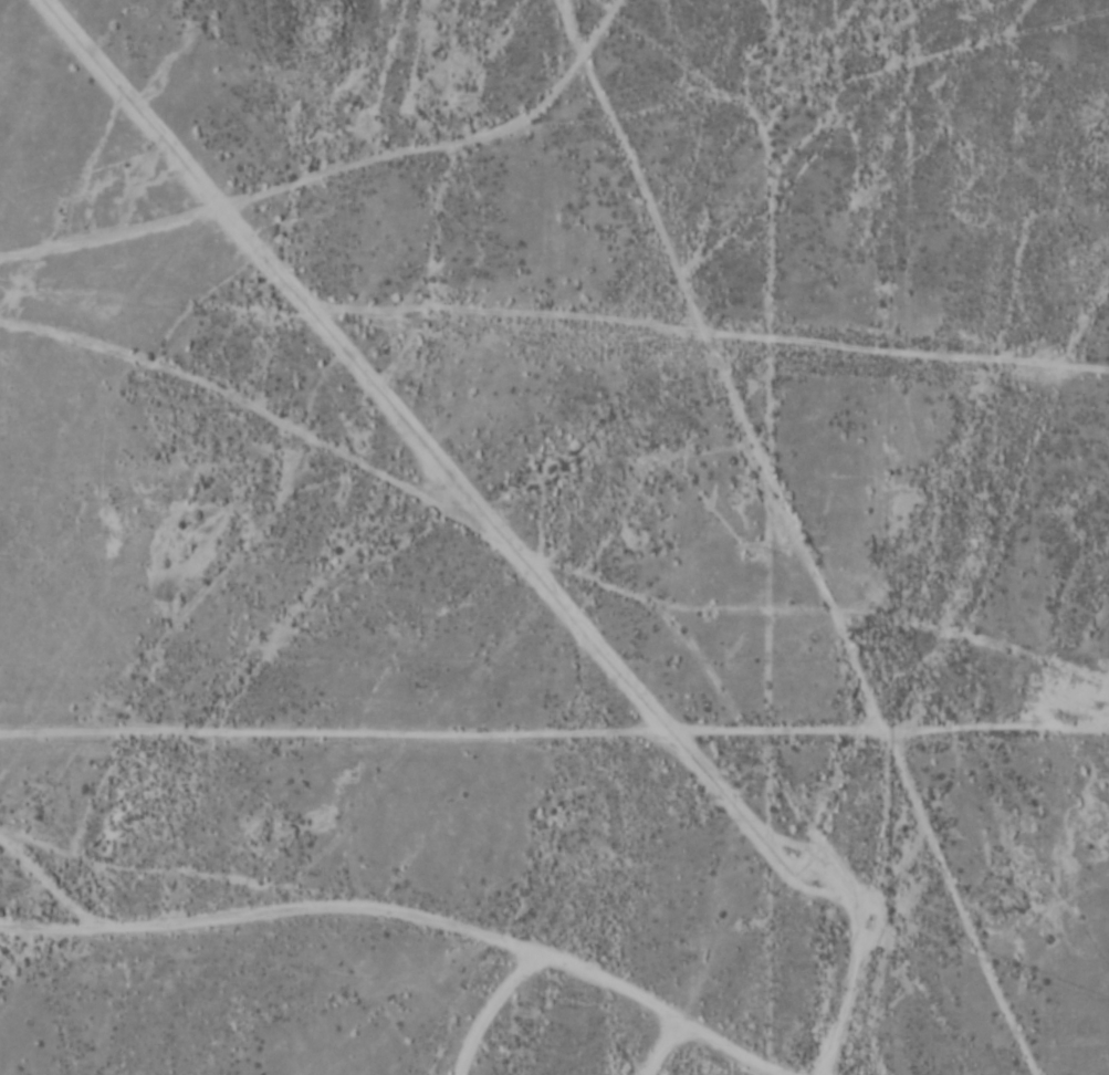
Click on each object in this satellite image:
road: (311, 966)

